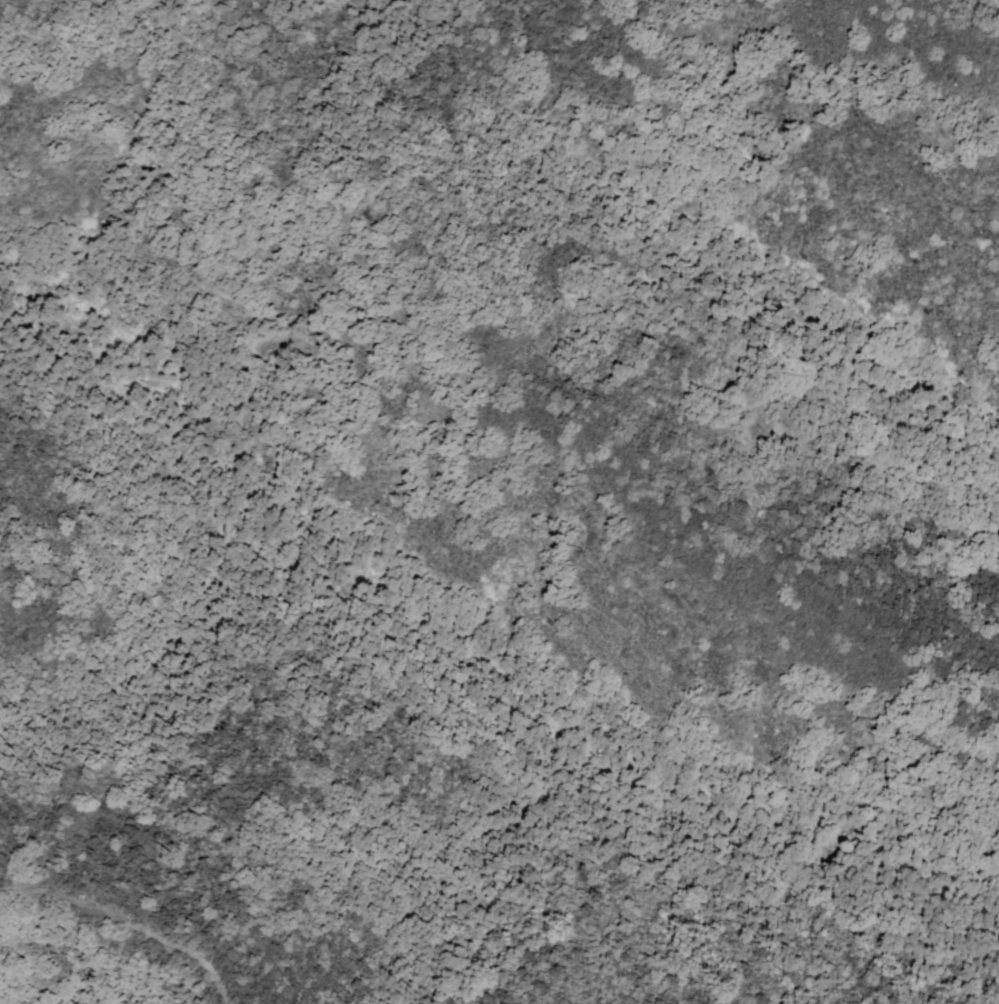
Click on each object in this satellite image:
road: (126, 922)

